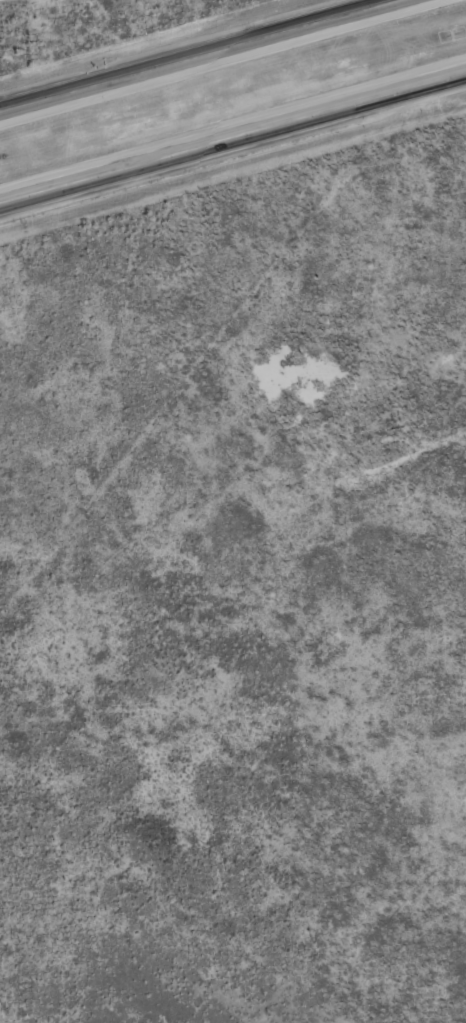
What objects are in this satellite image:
road: (203, 56)
road: (233, 136)
road: (393, 508)

